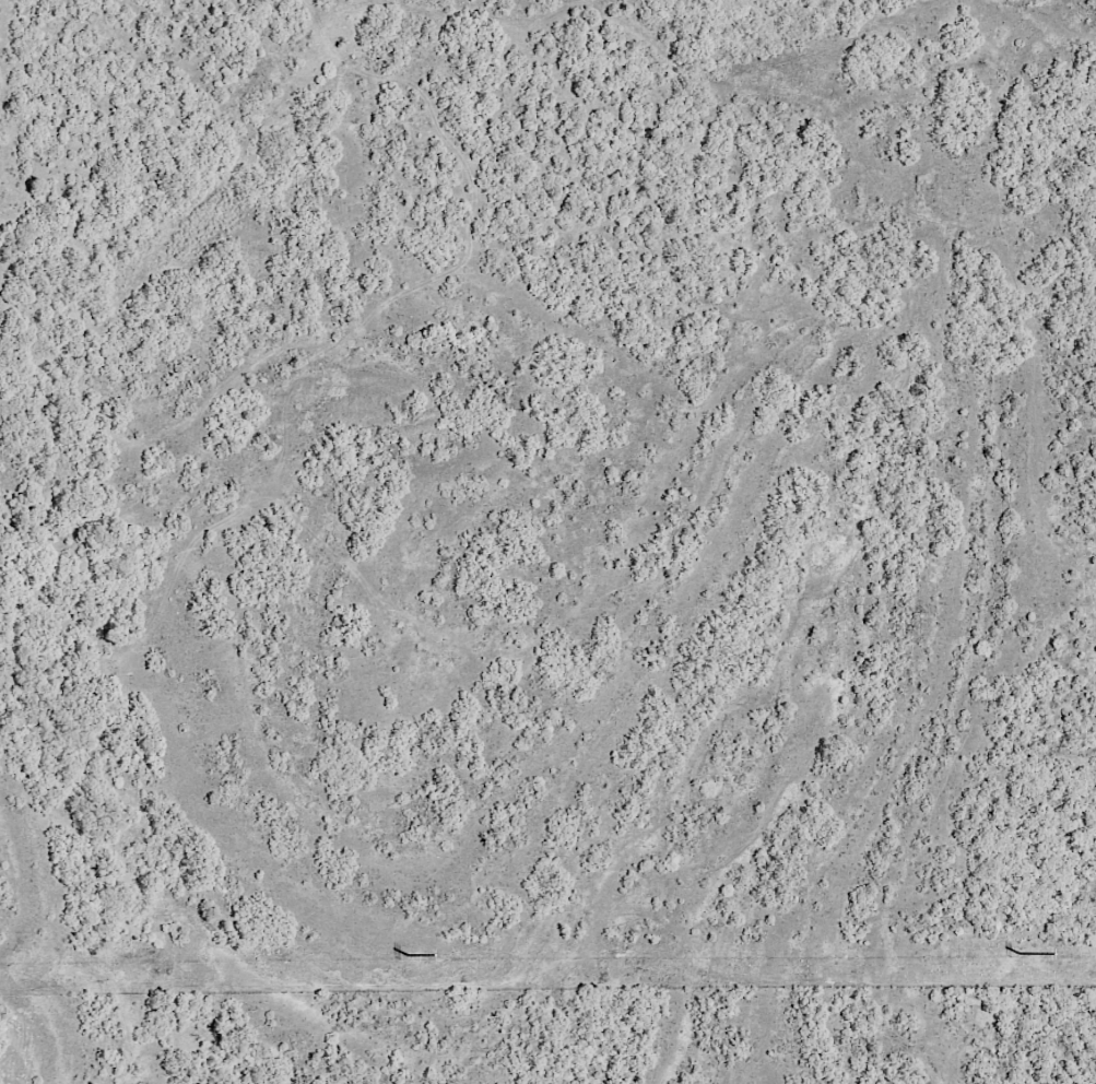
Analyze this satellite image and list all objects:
power tower: (1021, 951)
power tower: (410, 953)

